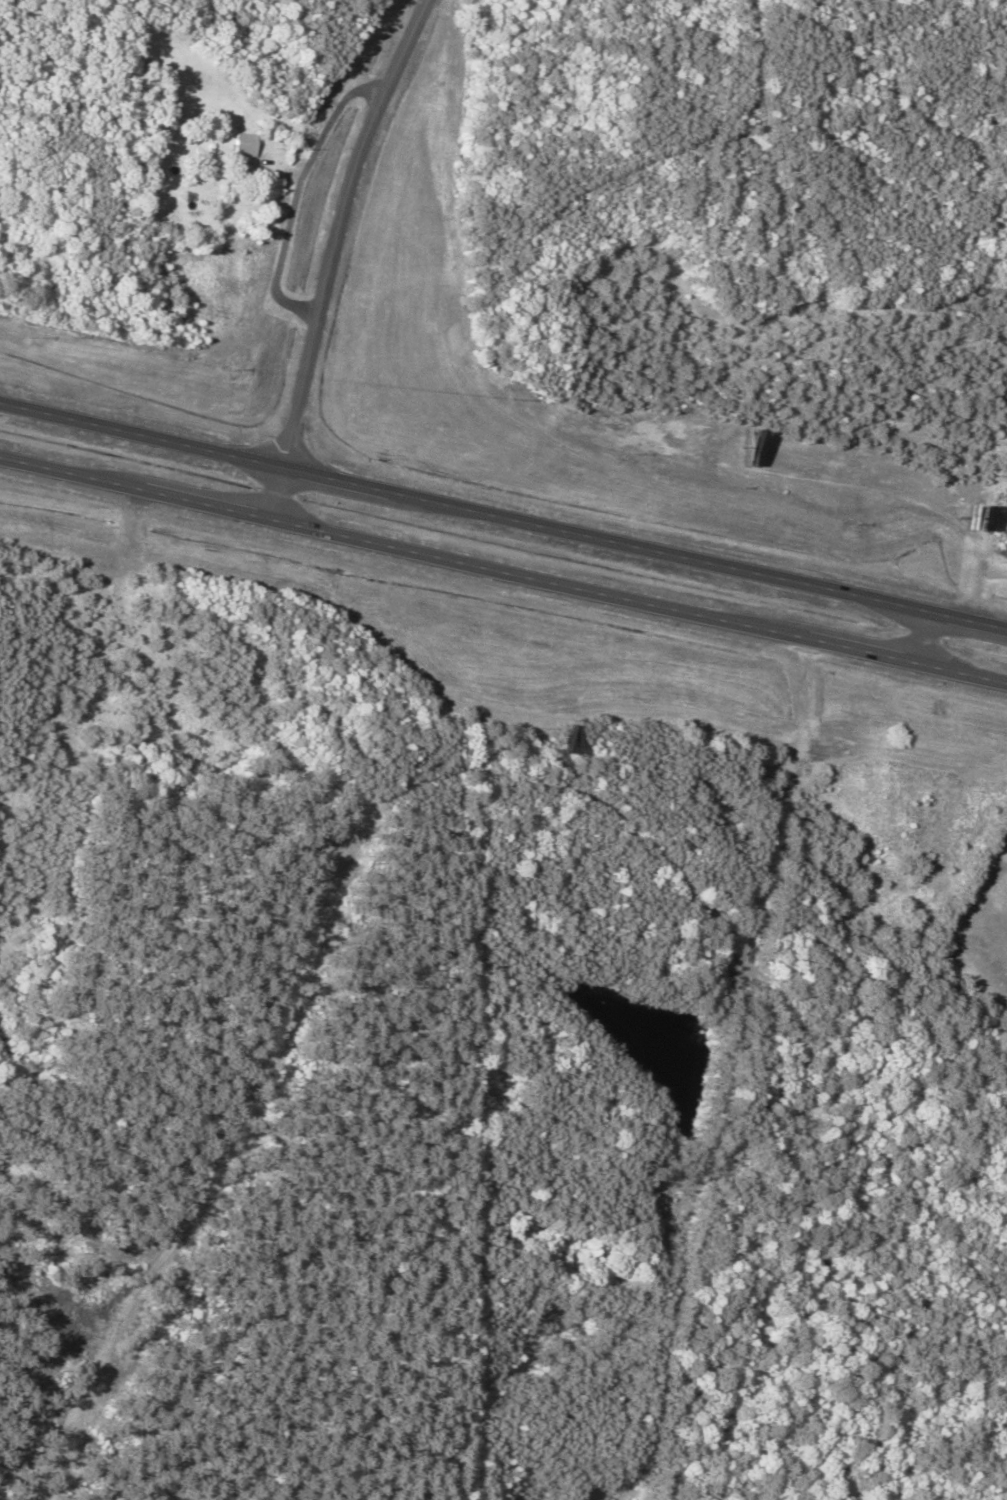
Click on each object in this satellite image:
building: (237, 144)
road: (338, 256)
road: (504, 512)
road: (503, 571)
road: (933, 637)
road: (745, 950)

